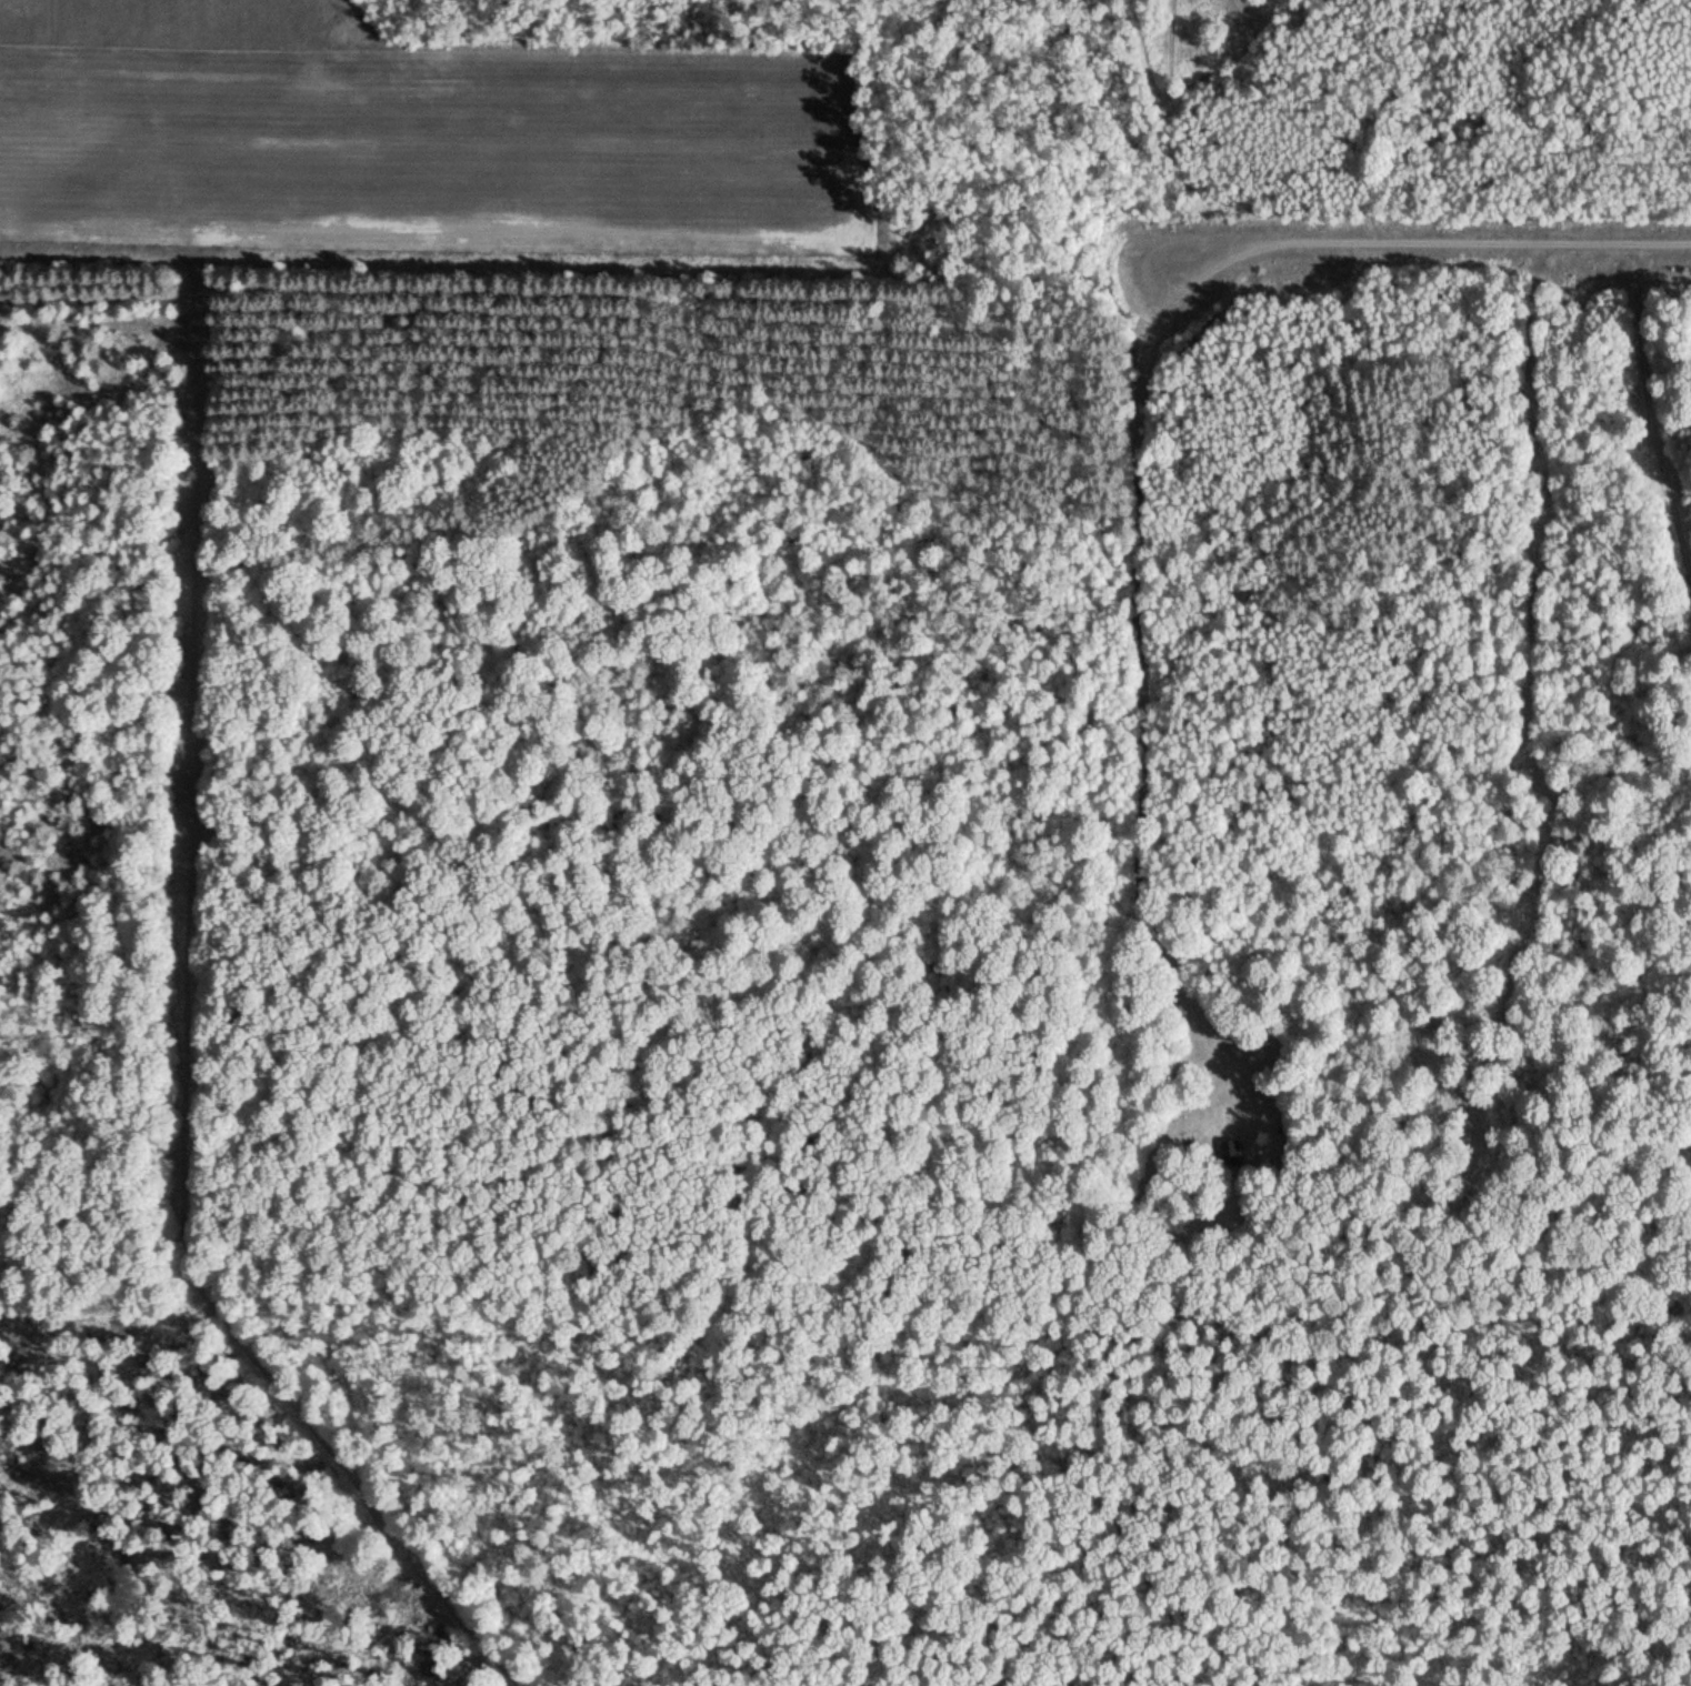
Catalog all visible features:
road: (1138, 414)
building: (1231, 1150)
road: (423, 1565)
road: (1183, 1613)

